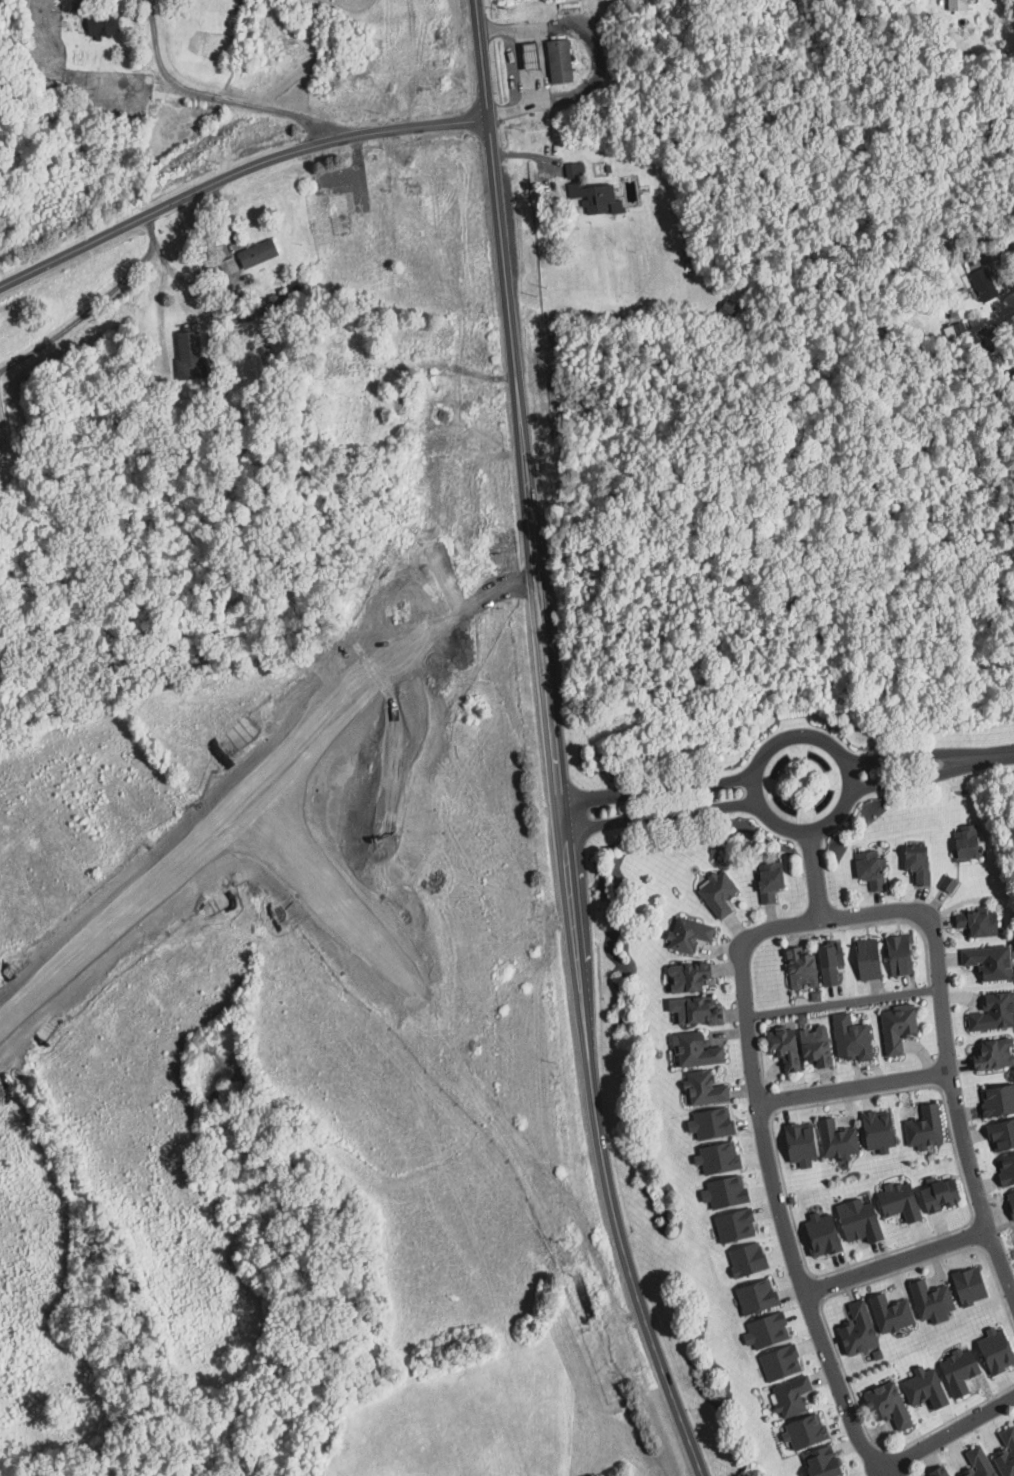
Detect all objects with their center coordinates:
building: (958, 5)
road: (82, 15)
building: (98, 23)
road: (596, 58)
building: (556, 59)
road: (514, 67)
road: (213, 97)
road: (234, 173)
road: (997, 247)
building: (254, 252)
building: (227, 267)
building: (986, 284)
road: (82, 315)
building: (186, 354)
road: (213, 373)
road: (3, 427)
road: (408, 587)
road: (991, 754)
road: (907, 757)
road: (910, 779)
road: (849, 786)
road: (658, 789)
road: (563, 808)
road: (661, 814)
building: (970, 842)
building: (921, 863)
building: (872, 869)
road: (814, 875)
building: (773, 880)
building: (951, 885)
building: (721, 894)
building: (982, 922)
building: (692, 934)
building: (904, 954)
building: (871, 959)
building: (993, 961)
building: (804, 968)
building: (692, 977)
road: (843, 1002)
building: (698, 1011)
building: (995, 1013)
building: (798, 1018)
building: (900, 1027)
building: (855, 1038)
building: (819, 1046)
building: (788, 1048)
building: (698, 1050)
building: (995, 1055)
road: (947, 1057)
road: (852, 1086)
building: (707, 1089)
building: (996, 1100)
road: (519, 1108)
building: (928, 1129)
building: (875, 1130)
building: (840, 1140)
building: (714, 1158)
road: (772, 1177)
building: (944, 1194)
building: (896, 1201)
building: (854, 1221)
building: (732, 1225)
building: (818, 1235)
building: (744, 1259)
road: (896, 1261)
building: (966, 1286)
building: (753, 1296)
building: (928, 1301)
building: (894, 1314)
building: (861, 1330)
building: (992, 1350)
building: (777, 1362)
building: (962, 1371)
building: (795, 1396)
building: (891, 1405)
building: (802, 1432)
road: (952, 1432)
building: (1008, 1454)
building: (818, 1462)
building: (982, 1463)
building: (943, 1472)

